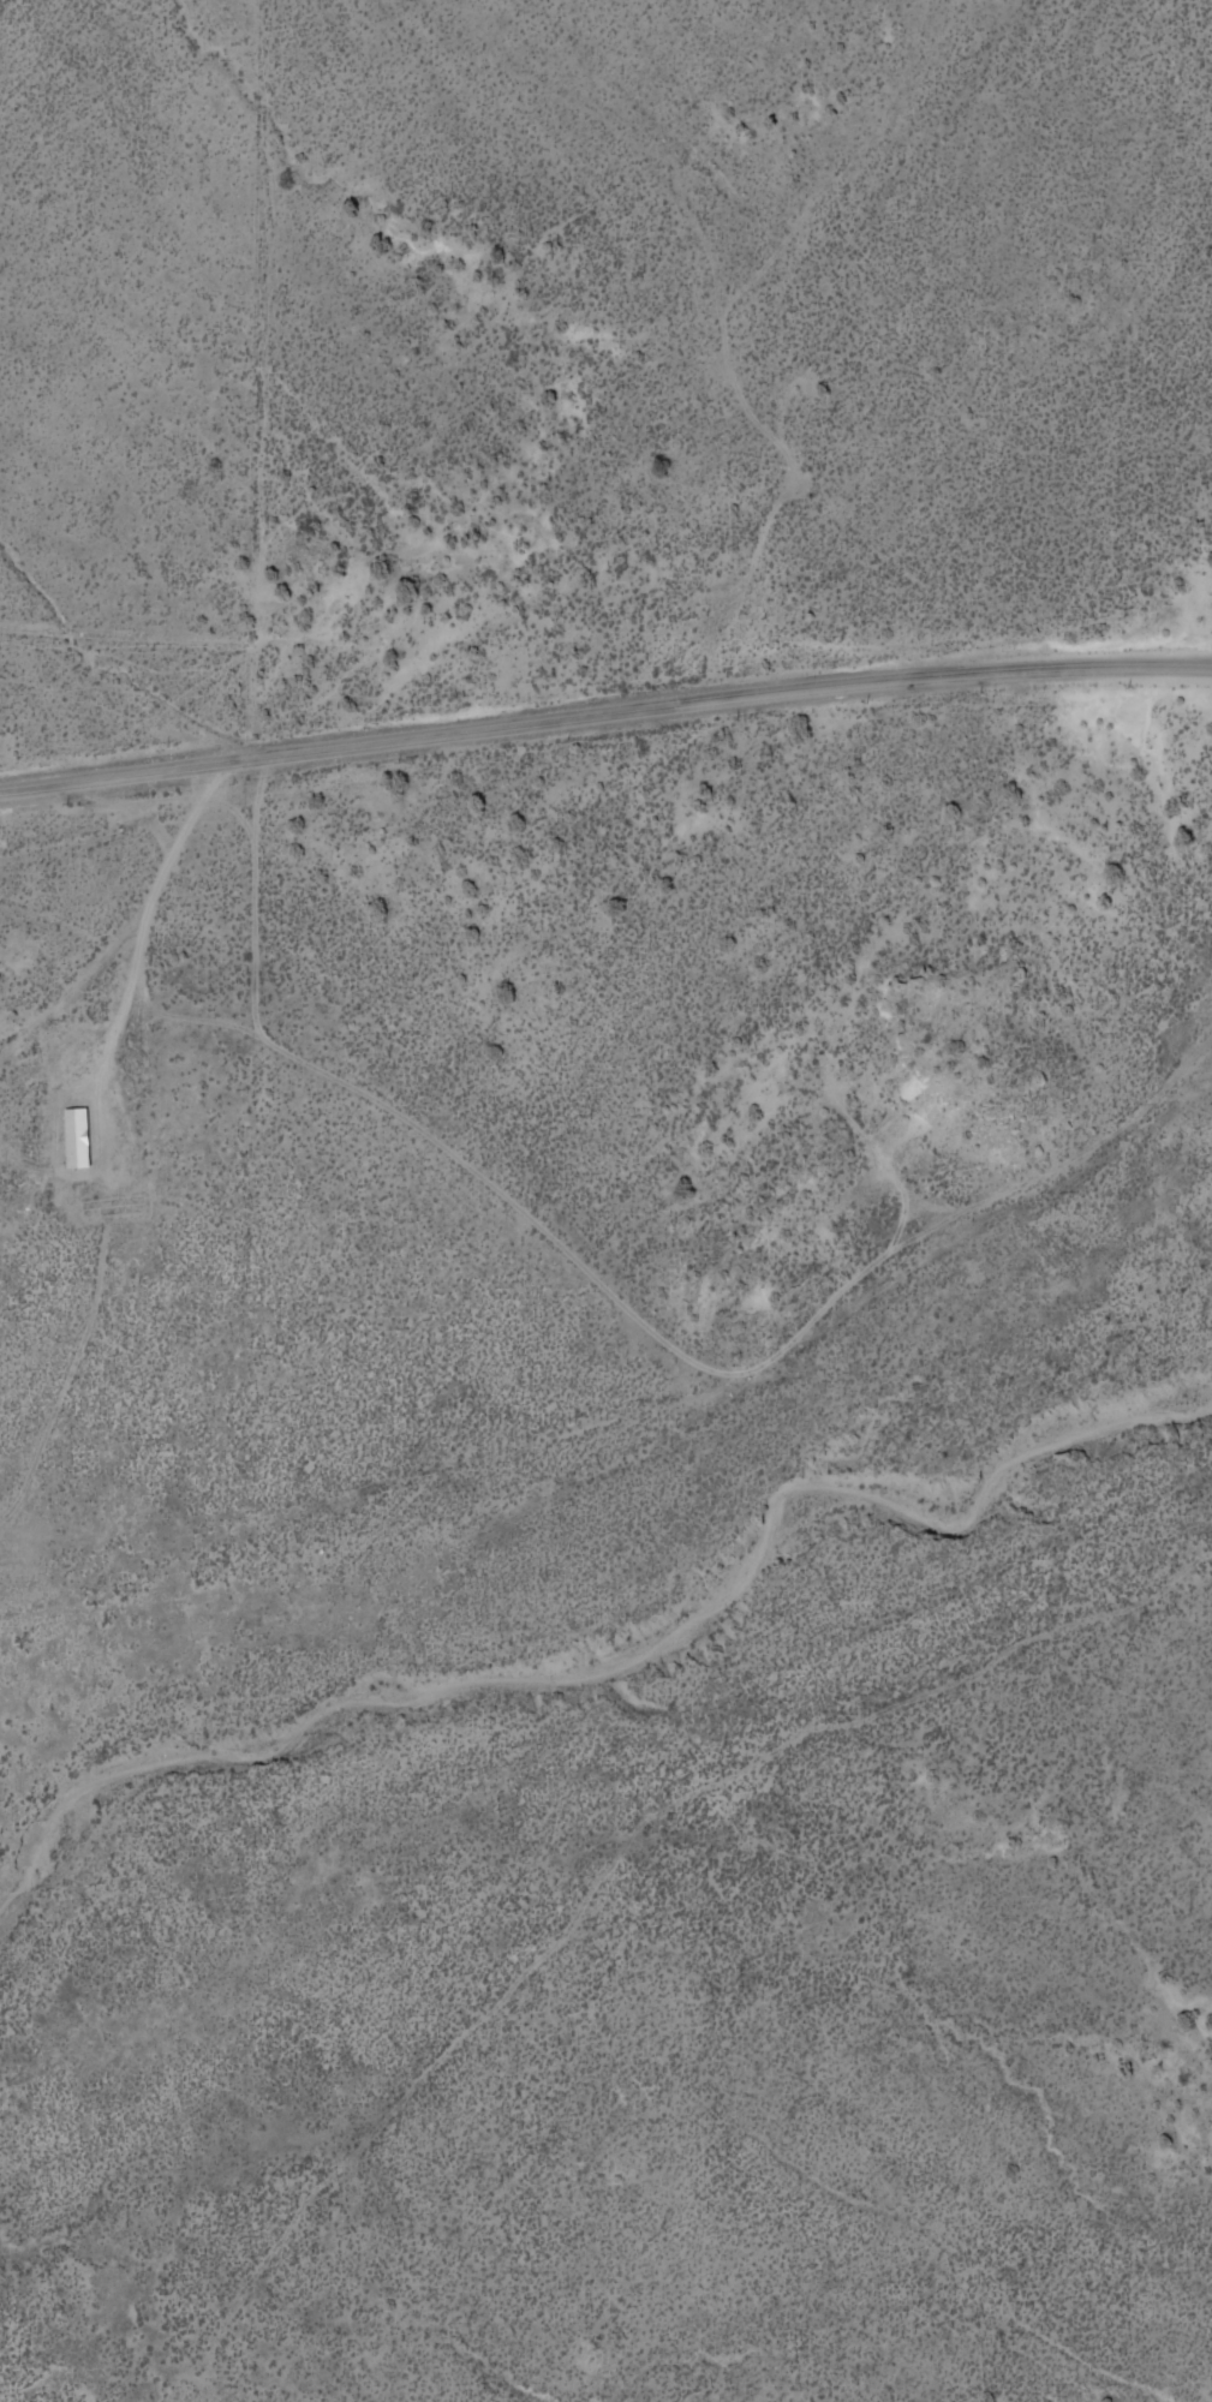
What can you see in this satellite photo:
road: (604, 715)

